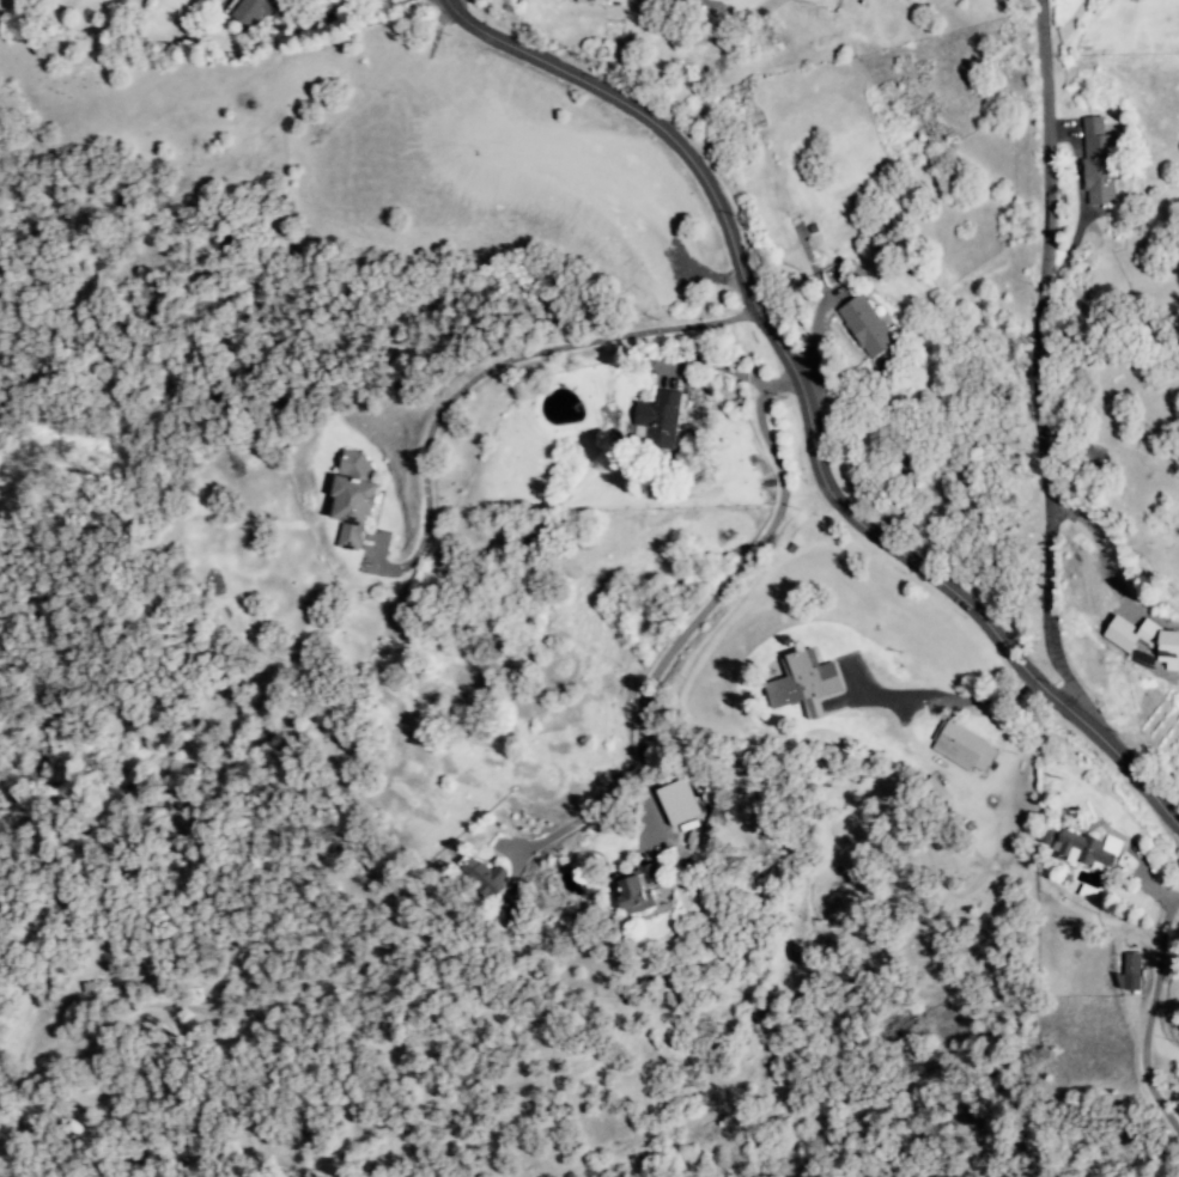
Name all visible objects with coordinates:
building: (250, 11)
road: (1066, 26)
building: (1096, 161)
road: (1043, 251)
building: (864, 325)
road: (487, 368)
road: (806, 410)
building: (658, 419)
building: (352, 499)
road: (736, 568)
road: (1044, 615)
building: (1144, 644)
building: (803, 682)
road: (936, 703)
building: (961, 746)
road: (573, 822)
road: (1167, 836)
building: (1045, 837)
building: (1084, 848)
building: (485, 878)
building: (636, 890)
building: (1129, 972)
road: (1147, 1019)

